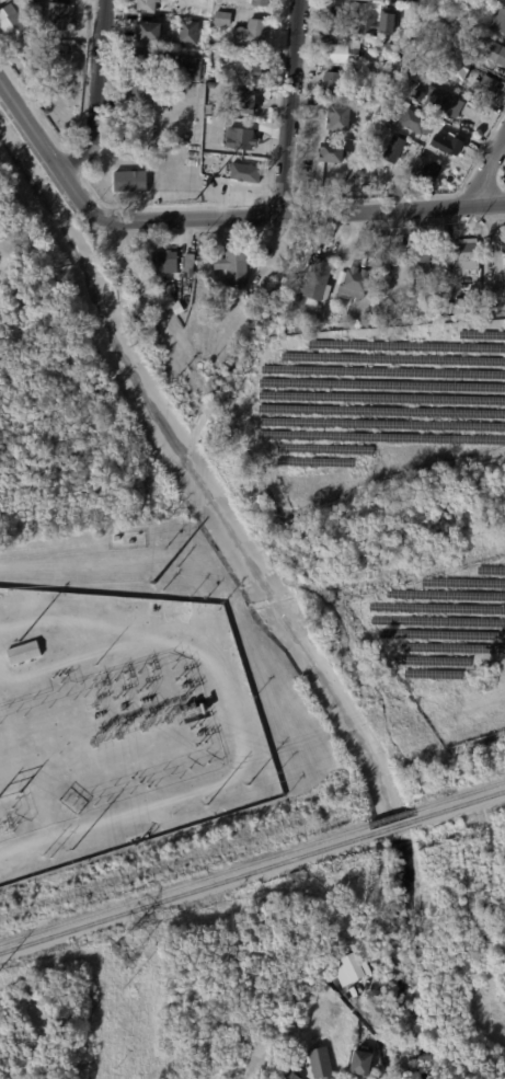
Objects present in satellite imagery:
building: (0, 0)
building: (500, 0)
building: (371, 1)
building: (263, 3)
building: (149, 5)
building: (59, 13)
building: (462, 14)
building: (223, 19)
building: (12, 20)
building: (342, 20)
building: (500, 21)
building: (401, 22)
building: (152, 33)
building: (191, 33)
building: (252, 34)
building: (217, 48)
building: (345, 50)
building: (497, 54)
building: (391, 55)
building: (154, 64)
building: (196, 71)
building: (251, 72)
building: (213, 84)
building: (334, 84)
building: (489, 87)
building: (369, 89)
road: (97, 91)
building: (147, 95)
building: (444, 101)
building: (248, 102)
road: (289, 107)
building: (368, 108)
building: (342, 120)
building: (416, 123)
building: (243, 140)
building: (446, 144)
building: (433, 148)
road: (49, 149)
building: (334, 153)
building: (423, 161)
road: (486, 170)
building: (248, 174)
building: (378, 177)
power tower: (194, 199)
road: (302, 214)
road: (496, 255)
building: (471, 256)
building: (392, 257)
building: (426, 257)
building: (209, 261)
building: (165, 263)
building: (191, 263)
building: (11, 264)
building: (237, 267)
building: (390, 275)
building: (320, 283)
building: (356, 284)
building: (171, 289)
building: (466, 303)
building: (375, 308)
building: (180, 309)
power tower: (177, 376)
solar farm: (369, 409)
solar farm: (444, 644)
building: (24, 651)
power substation: (118, 725)
railway: (459, 794)
railway: (461, 803)
railway: (391, 816)
railway: (394, 824)
railway: (184, 882)
road: (479, 886)
railway: (185, 891)
power tower: (123, 951)
building: (363, 1061)
building: (323, 1063)
building: (294, 1074)

